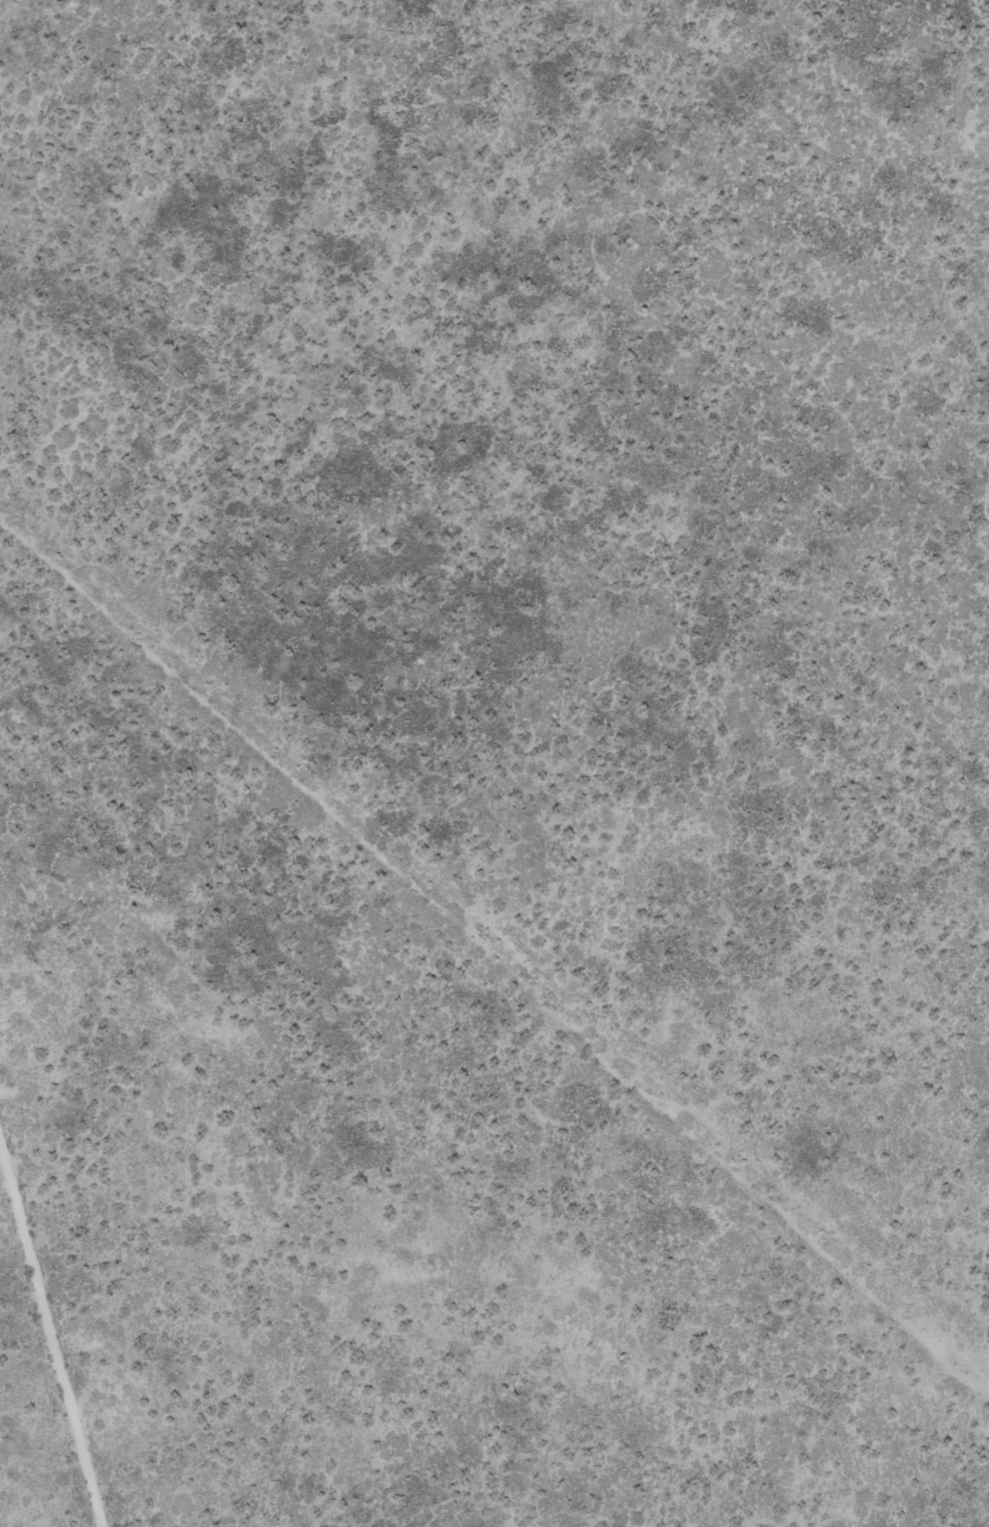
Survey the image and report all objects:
road: (46, 1353)

